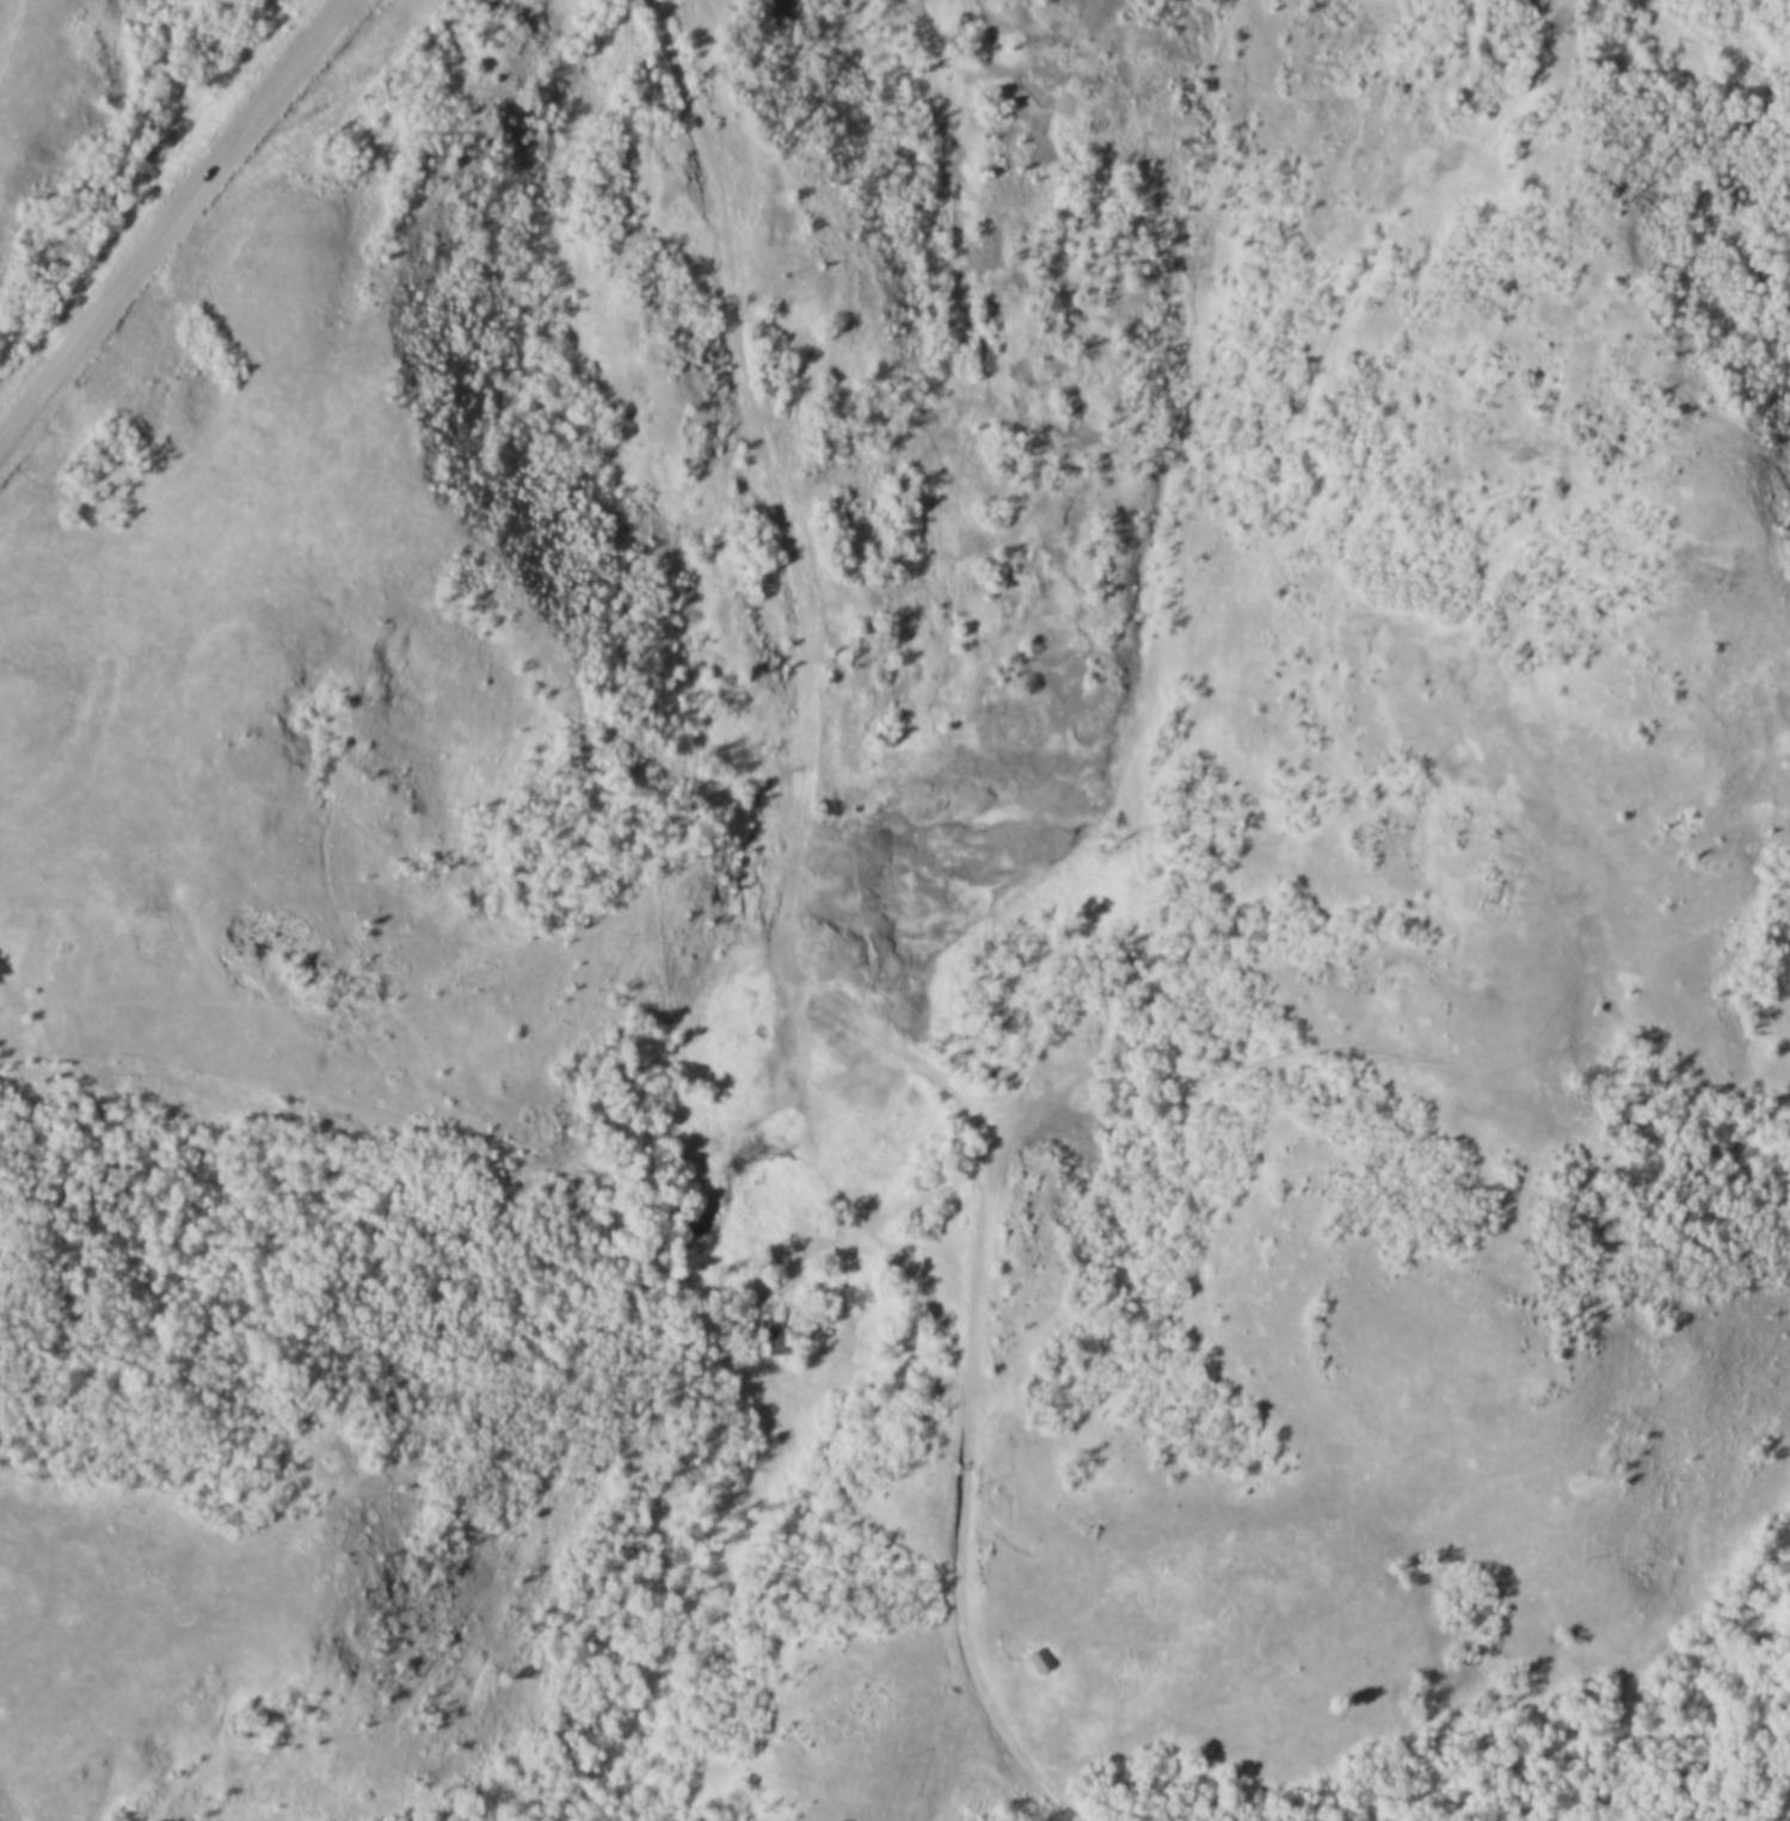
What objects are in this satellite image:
road: (183, 226)
road: (814, 682)
road: (910, 1057)
road: (989, 1170)
building: (1034, 1659)

